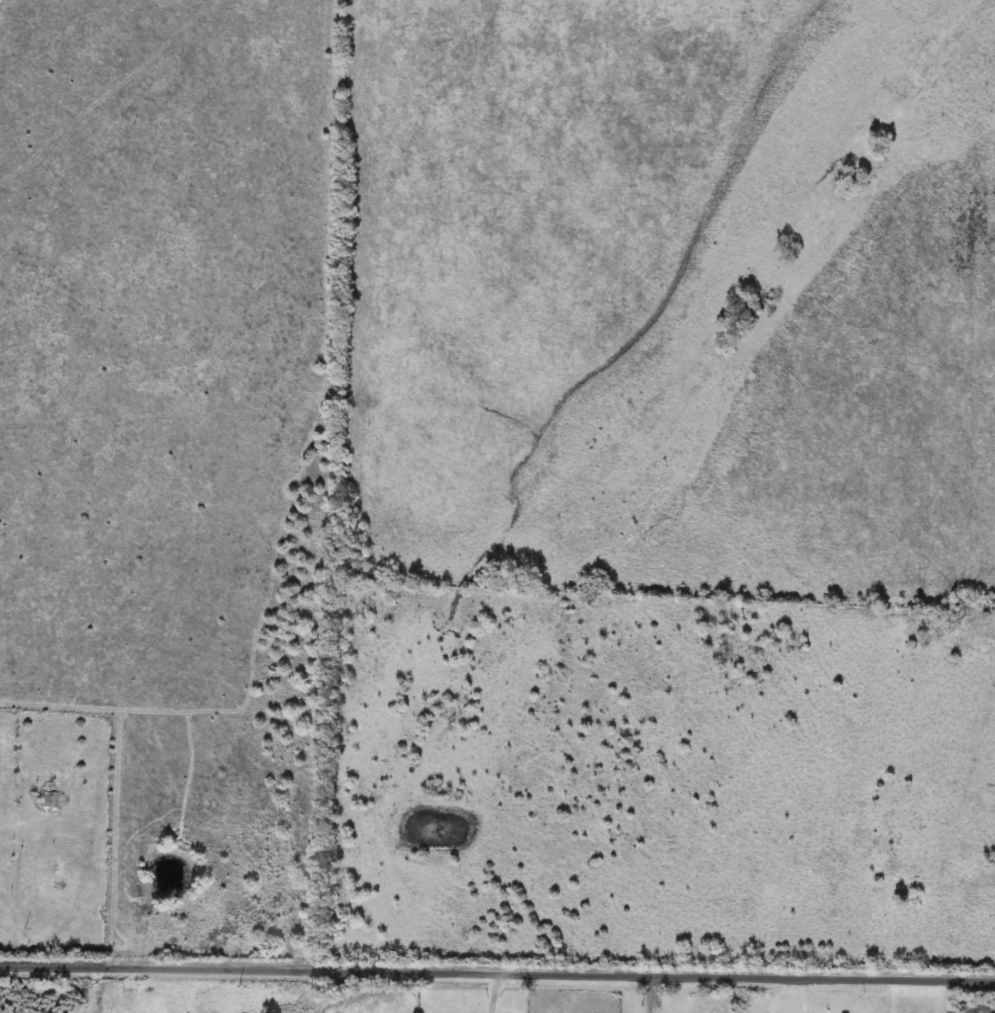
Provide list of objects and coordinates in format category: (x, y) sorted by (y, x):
building: (46, 801)
road: (497, 971)
road: (498, 992)
road: (651, 992)

